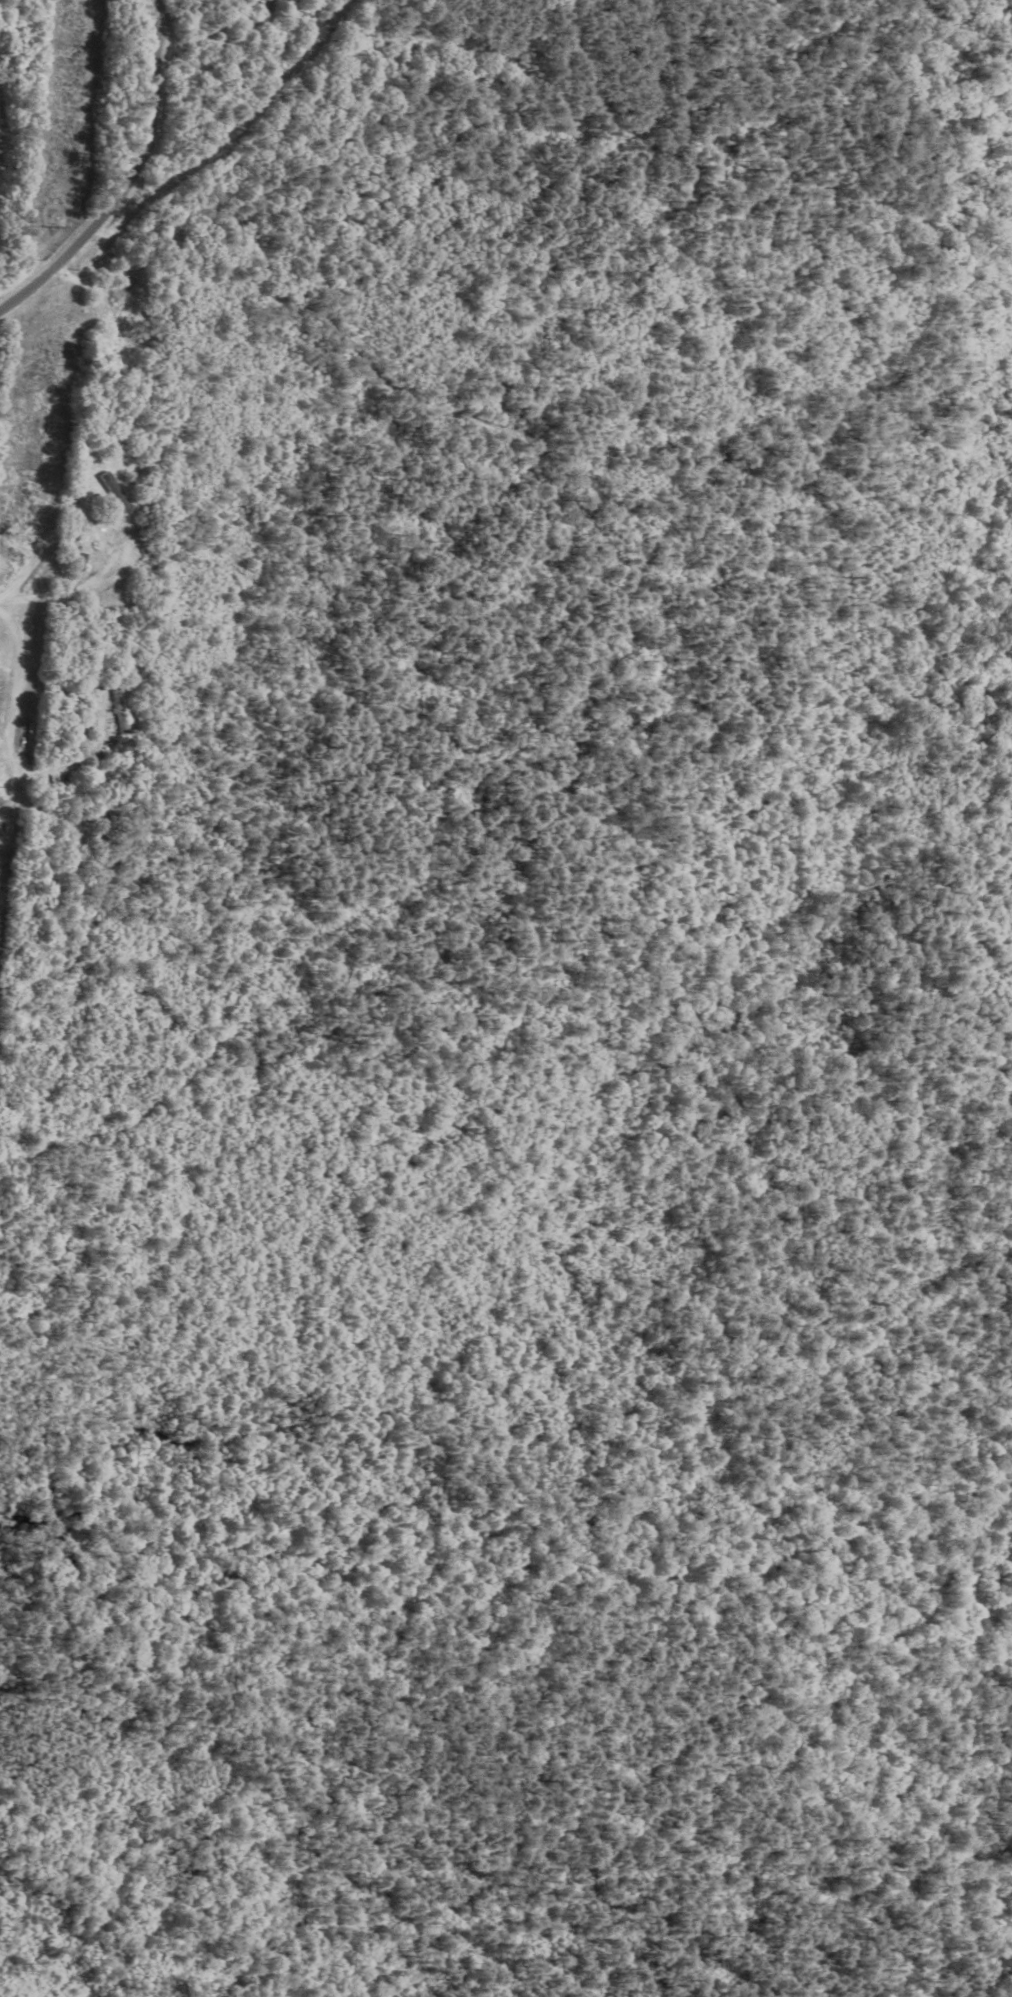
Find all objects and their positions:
road: (130, 177)
road: (36, 590)
road: (8, 684)
building: (118, 711)
road: (60, 759)

